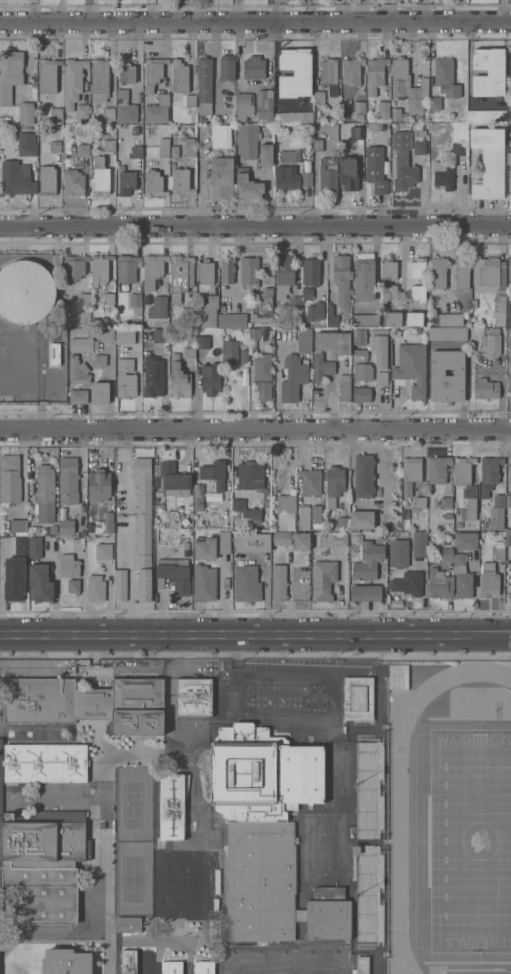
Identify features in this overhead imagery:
building: (509, 1)
road: (391, 10)
road: (33, 11)
road: (61, 11)
road: (89, 11)
road: (151, 11)
road: (178, 11)
road: (425, 11)
road: (255, 22)
building: (226, 69)
building: (352, 71)
building: (125, 72)
building: (257, 72)
building: (488, 72)
building: (153, 73)
building: (295, 73)
building: (9, 75)
building: (329, 75)
building: (375, 75)
building: (47, 76)
building: (181, 77)
building: (399, 77)
building: (445, 78)
building: (99, 80)
building: (204, 80)
building: (72, 82)
building: (417, 97)
building: (318, 98)
building: (190, 100)
building: (434, 104)
building: (244, 106)
building: (264, 106)
building: (125, 108)
building: (359, 108)
building: (157, 110)
building: (82, 111)
building: (382, 111)
building: (26, 113)
building: (108, 114)
building: (397, 115)
building: (56, 116)
building: (293, 117)
building: (486, 117)
building: (134, 130)
building: (356, 132)
building: (220, 139)
building: (247, 141)
building: (109, 145)
building: (54, 146)
building: (189, 147)
building: (163, 148)
building: (420, 148)
building: (27, 149)
building: (458, 149)
building: (83, 151)
building: (137, 151)
building: (174, 151)
building: (265, 154)
building: (285, 157)
building: (509, 159)
building: (489, 163)
building: (306, 167)
building: (375, 170)
building: (403, 171)
building: (349, 174)
building: (328, 175)
building: (442, 176)
building: (100, 177)
building: (286, 178)
building: (16, 179)
building: (220, 179)
building: (47, 181)
building: (509, 182)
building: (73, 183)
building: (126, 183)
building: (181, 183)
building: (153, 184)
building: (247, 186)
road: (255, 229)
building: (73, 267)
building: (388, 269)
building: (418, 269)
building: (99, 270)
building: (129, 270)
building: (152, 270)
building: (226, 271)
building: (205, 272)
building: (248, 272)
building: (311, 272)
building: (509, 272)
building: (438, 273)
building: (461, 273)
building: (284, 275)
building: (180, 277)
building: (363, 278)
building: (341, 281)
building: (490, 283)
building: (25, 292)
storage tank: (25, 292)
building: (417, 293)
building: (389, 294)
building: (160, 299)
building: (108, 303)
building: (294, 303)
building: (135, 304)
building: (310, 306)
building: (262, 307)
building: (207, 312)
building: (508, 313)
building: (331, 317)
building: (392, 319)
building: (413, 319)
building: (365, 320)
building: (450, 320)
building: (231, 321)
building: (447, 333)
building: (104, 334)
building: (158, 334)
building: (124, 337)
building: (260, 337)
building: (358, 337)
building: (301, 339)
building: (202, 342)
building: (491, 343)
building: (82, 345)
building: (379, 347)
building: (54, 353)
building: (230, 353)
building: (189, 355)
building: (243, 356)
building: (359, 356)
building: (317, 358)
building: (99, 361)
building: (262, 368)
building: (411, 368)
building: (78, 371)
building: (362, 372)
building: (447, 376)
building: (153, 377)
building: (210, 377)
building: (509, 377)
building: (382, 378)
building: (125, 379)
building: (179, 379)
building: (293, 379)
building: (344, 388)
building: (485, 389)
building: (263, 391)
building: (99, 393)
building: (361, 395)
building: (78, 397)
road: (255, 430)
road: (378, 451)
building: (9, 467)
building: (437, 470)
building: (410, 474)
building: (489, 474)
building: (250, 476)
building: (363, 476)
building: (171, 480)
building: (207, 480)
building: (68, 481)
building: (310, 482)
building: (99, 485)
building: (333, 486)
building: (469, 493)
building: (44, 495)
building: (419, 503)
building: (446, 504)
building: (286, 510)
building: (245, 511)
building: (497, 513)
building: (315, 515)
building: (303, 518)
building: (361, 519)
building: (211, 522)
building: (342, 524)
building: (17, 525)
building: (106, 527)
building: (143, 527)
building: (66, 528)
road: (130, 532)
building: (507, 537)
building: (280, 538)
building: (333, 540)
building: (300, 541)
building: (466, 541)
building: (223, 543)
building: (252, 543)
building: (419, 544)
building: (20, 545)
building: (34, 547)
building: (204, 549)
building: (103, 551)
building: (397, 553)
building: (446, 554)
building: (367, 562)
building: (68, 566)
parking lot: (509, 570)
building: (173, 575)
building: (461, 577)
building: (13, 579)
building: (322, 580)
building: (278, 582)
building: (39, 583)
building: (121, 583)
building: (203, 583)
building: (246, 583)
building: (507, 583)
building: (407, 584)
building: (437, 585)
building: (489, 586)
building: (73, 587)
building: (95, 588)
building: (366, 593)
road: (253, 634)
road: (509, 634)
building: (398, 677)
parking lot: (288, 697)
building: (192, 699)
building: (357, 699)
building: (53, 701)
building: (137, 706)
road: (309, 714)
building: (44, 761)
building: (261, 772)
building: (369, 786)
park: (133, 803)
building: (171, 804)
building: (190, 821)
road: (108, 840)
track: (399, 840)
park: (471, 840)
building: (0, 851)
building: (43, 865)
park: (133, 877)
building: (260, 879)
building: (369, 897)
building: (328, 912)
building: (127, 922)
building: (128, 960)
building: (65, 961)
building: (361, 964)
building: (170, 966)
building: (202, 966)

